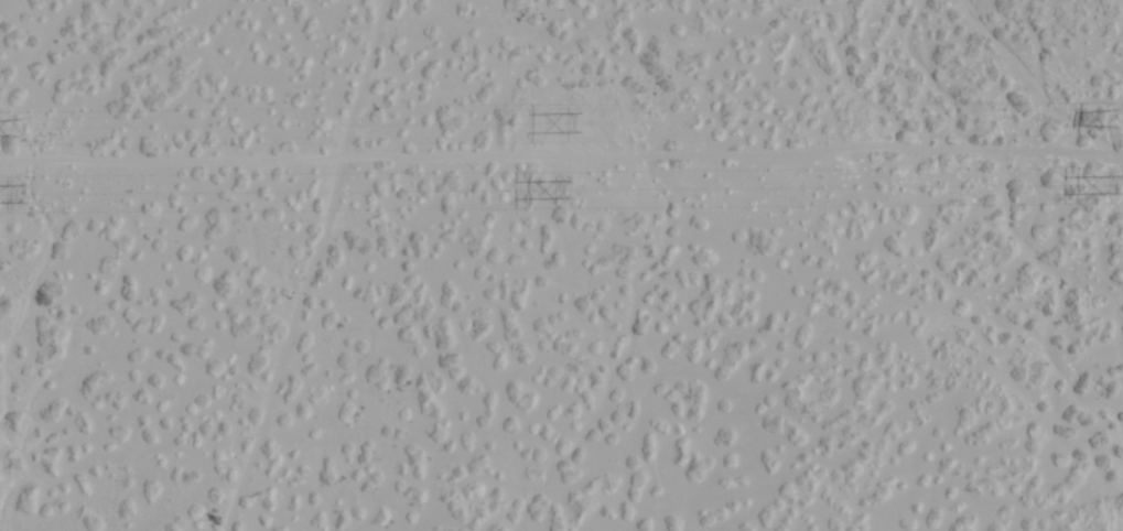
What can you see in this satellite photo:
power tower: (1117, 116)
power tower: (569, 121)
power tower: (19, 124)
power tower: (1116, 182)
power tower: (566, 185)
power tower: (20, 188)
road: (331, 264)
road: (559, 295)
road: (79, 477)

